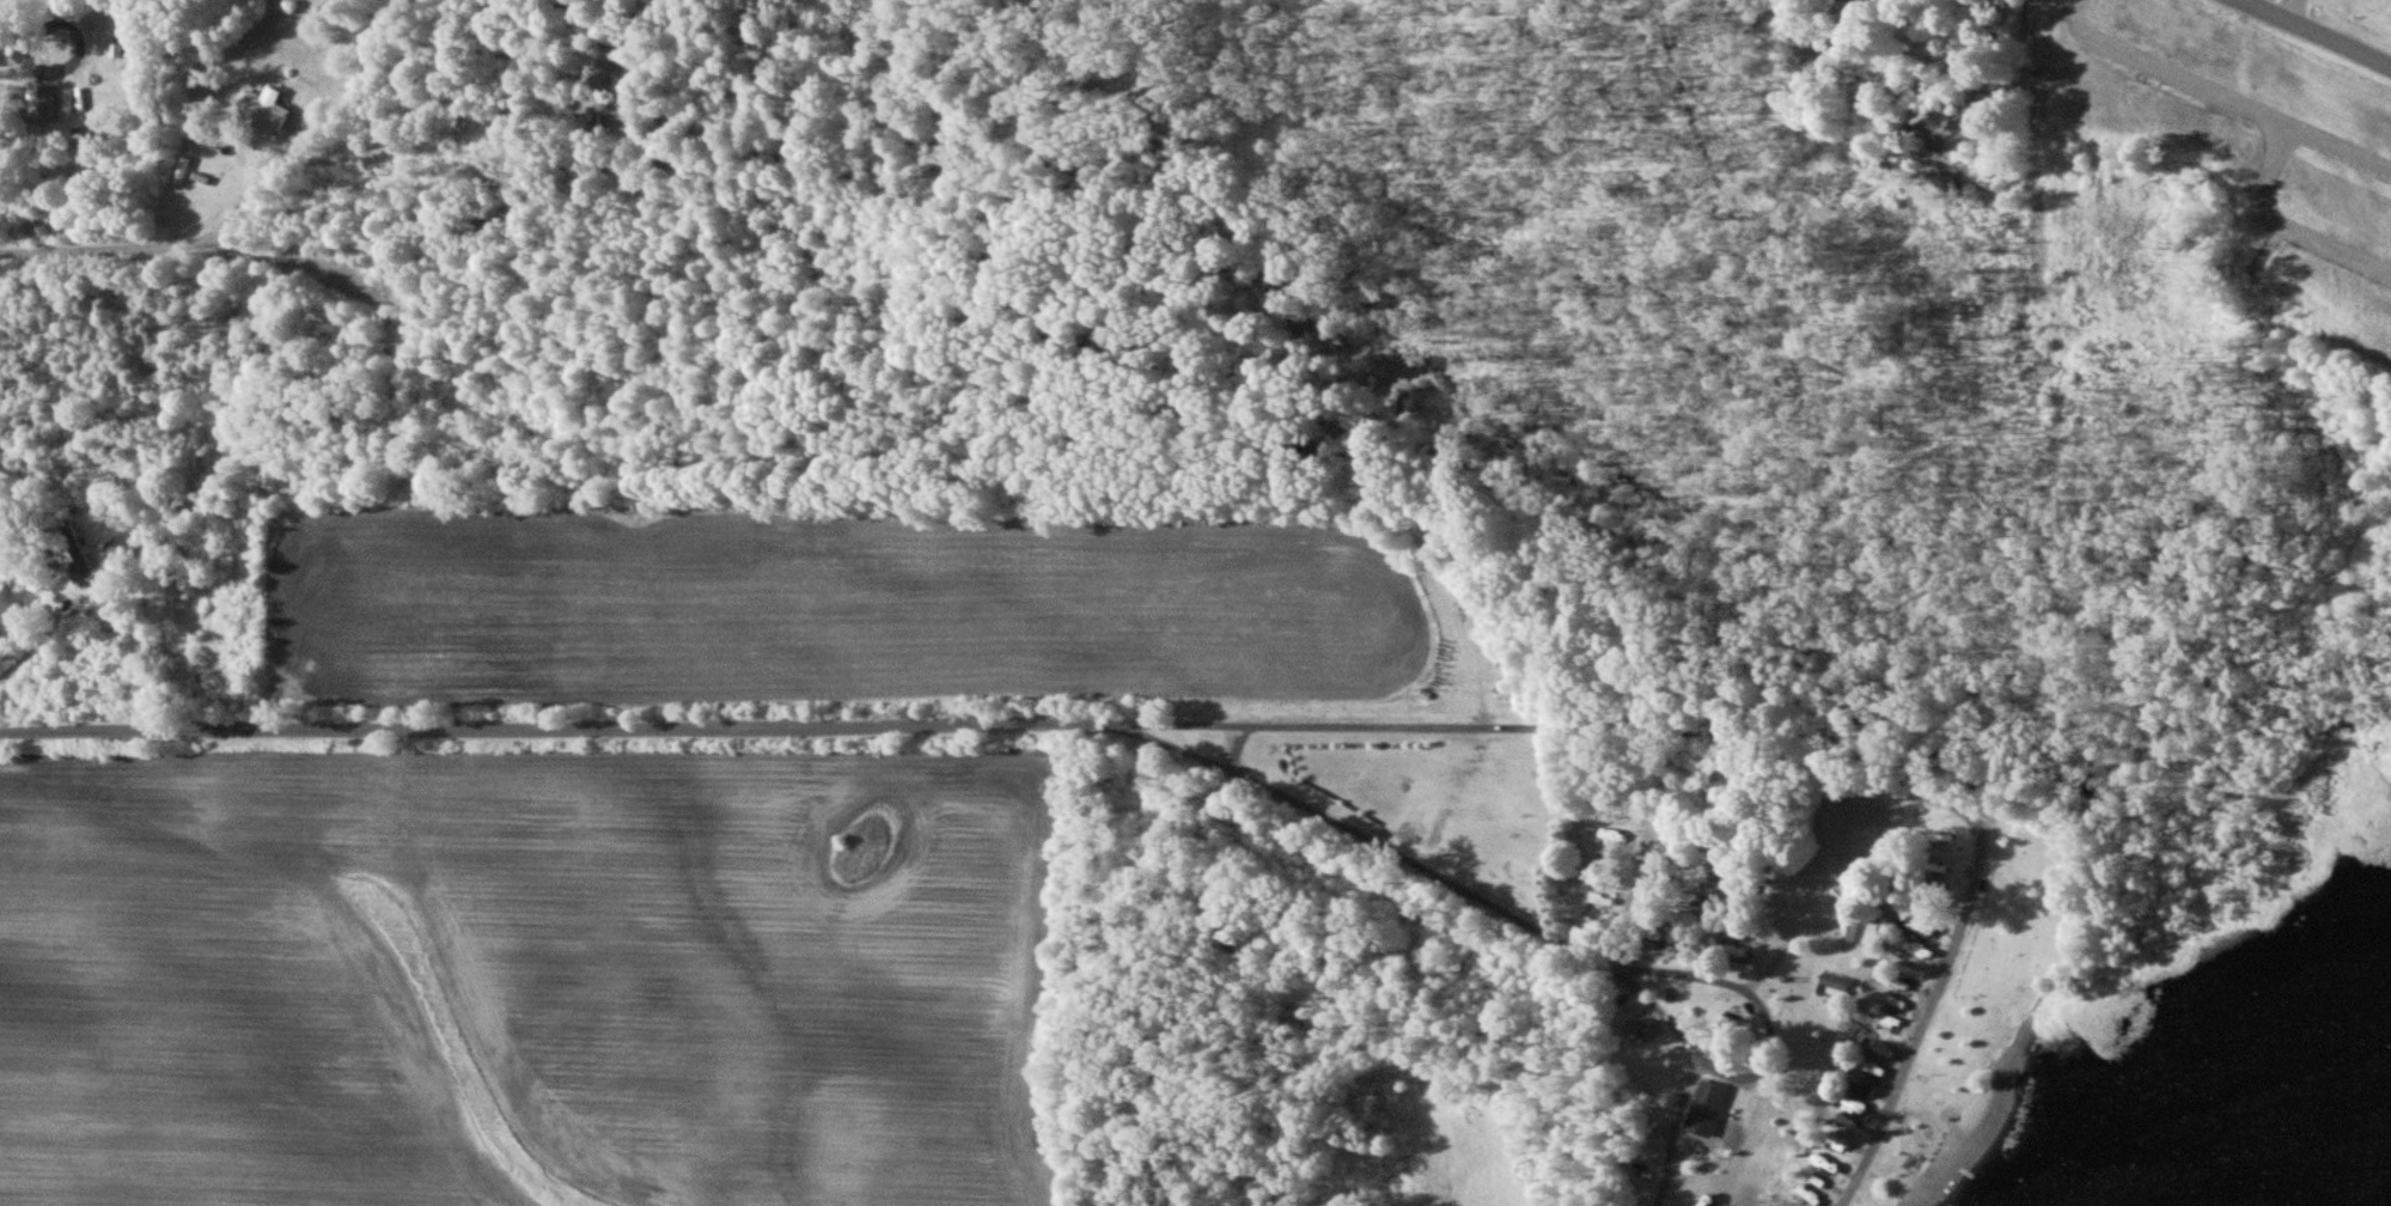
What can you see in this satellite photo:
road: (79, 33)
road: (2308, 37)
road: (17, 78)
building: (269, 106)
road: (158, 249)
road: (42, 647)
road: (838, 732)
road: (1795, 757)
building: (1600, 901)
building: (1864, 932)
road: (1621, 974)
building: (1837, 980)
building: (1708, 1107)
road: (1670, 1131)

